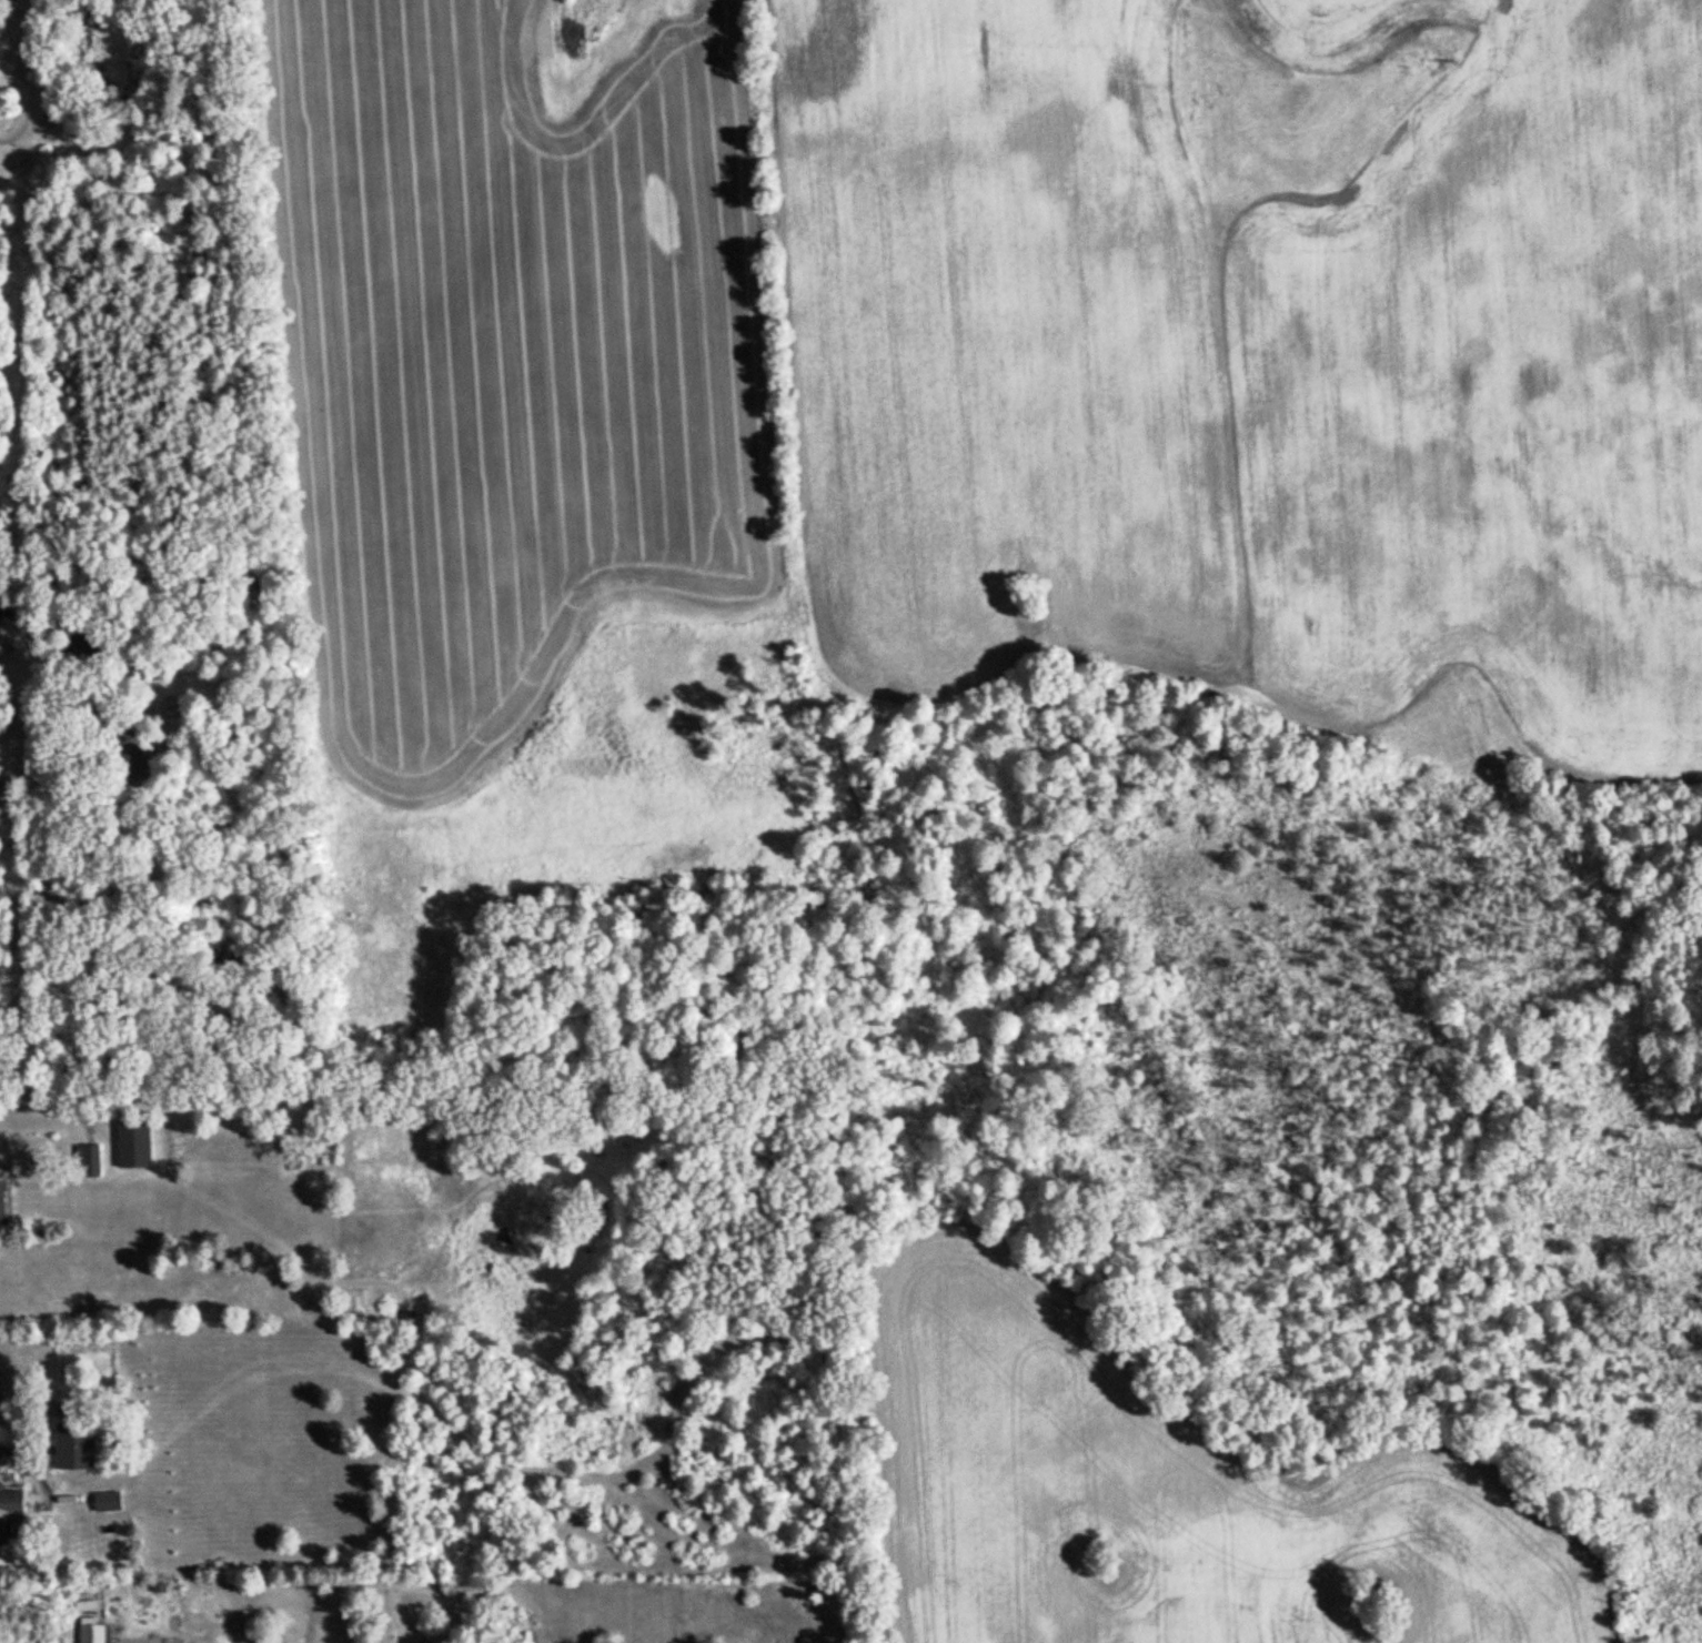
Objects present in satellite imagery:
crop: (1249, 349)
crop: (513, 355)
building: (0, 645)
road: (64, 648)
building: (129, 755)
road: (42, 1106)
building: (132, 1140)
building: (87, 1158)
building: (1, 1200)
building: (73, 1444)
crop: (1048, 1468)
building: (107, 1499)
building: (8, 1510)
crop: (1458, 1548)
building: (92, 1630)

